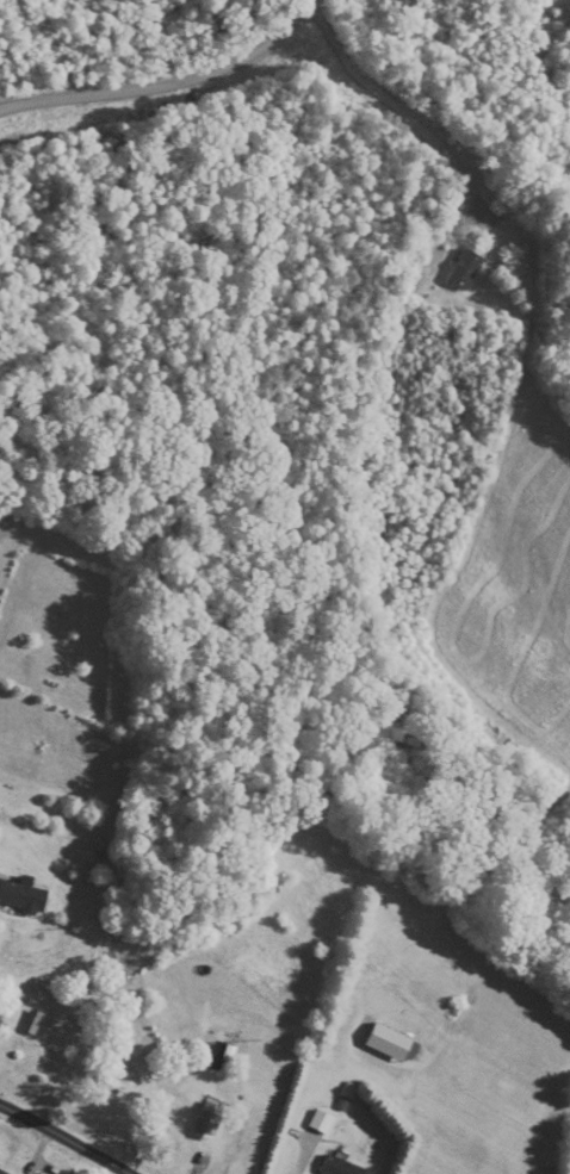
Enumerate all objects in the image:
road: (172, 89)
road: (403, 112)
building: (466, 269)
building: (110, 846)
building: (23, 896)
building: (38, 1030)
building: (209, 1120)
road: (67, 1137)
building: (341, 1167)
building: (2, 1172)

